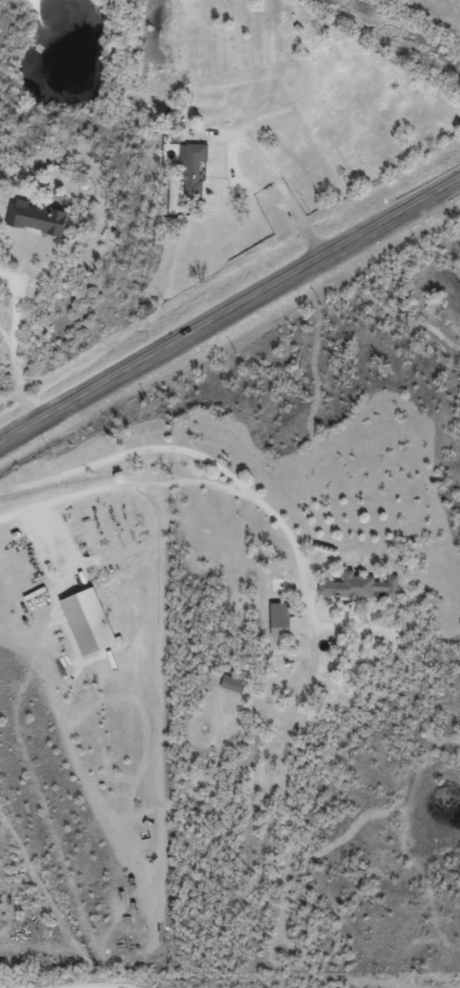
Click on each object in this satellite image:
building: (192, 170)
road: (285, 194)
building: (37, 216)
road: (229, 308)
road: (206, 482)
building: (280, 583)
building: (360, 585)
building: (284, 620)
building: (232, 682)

